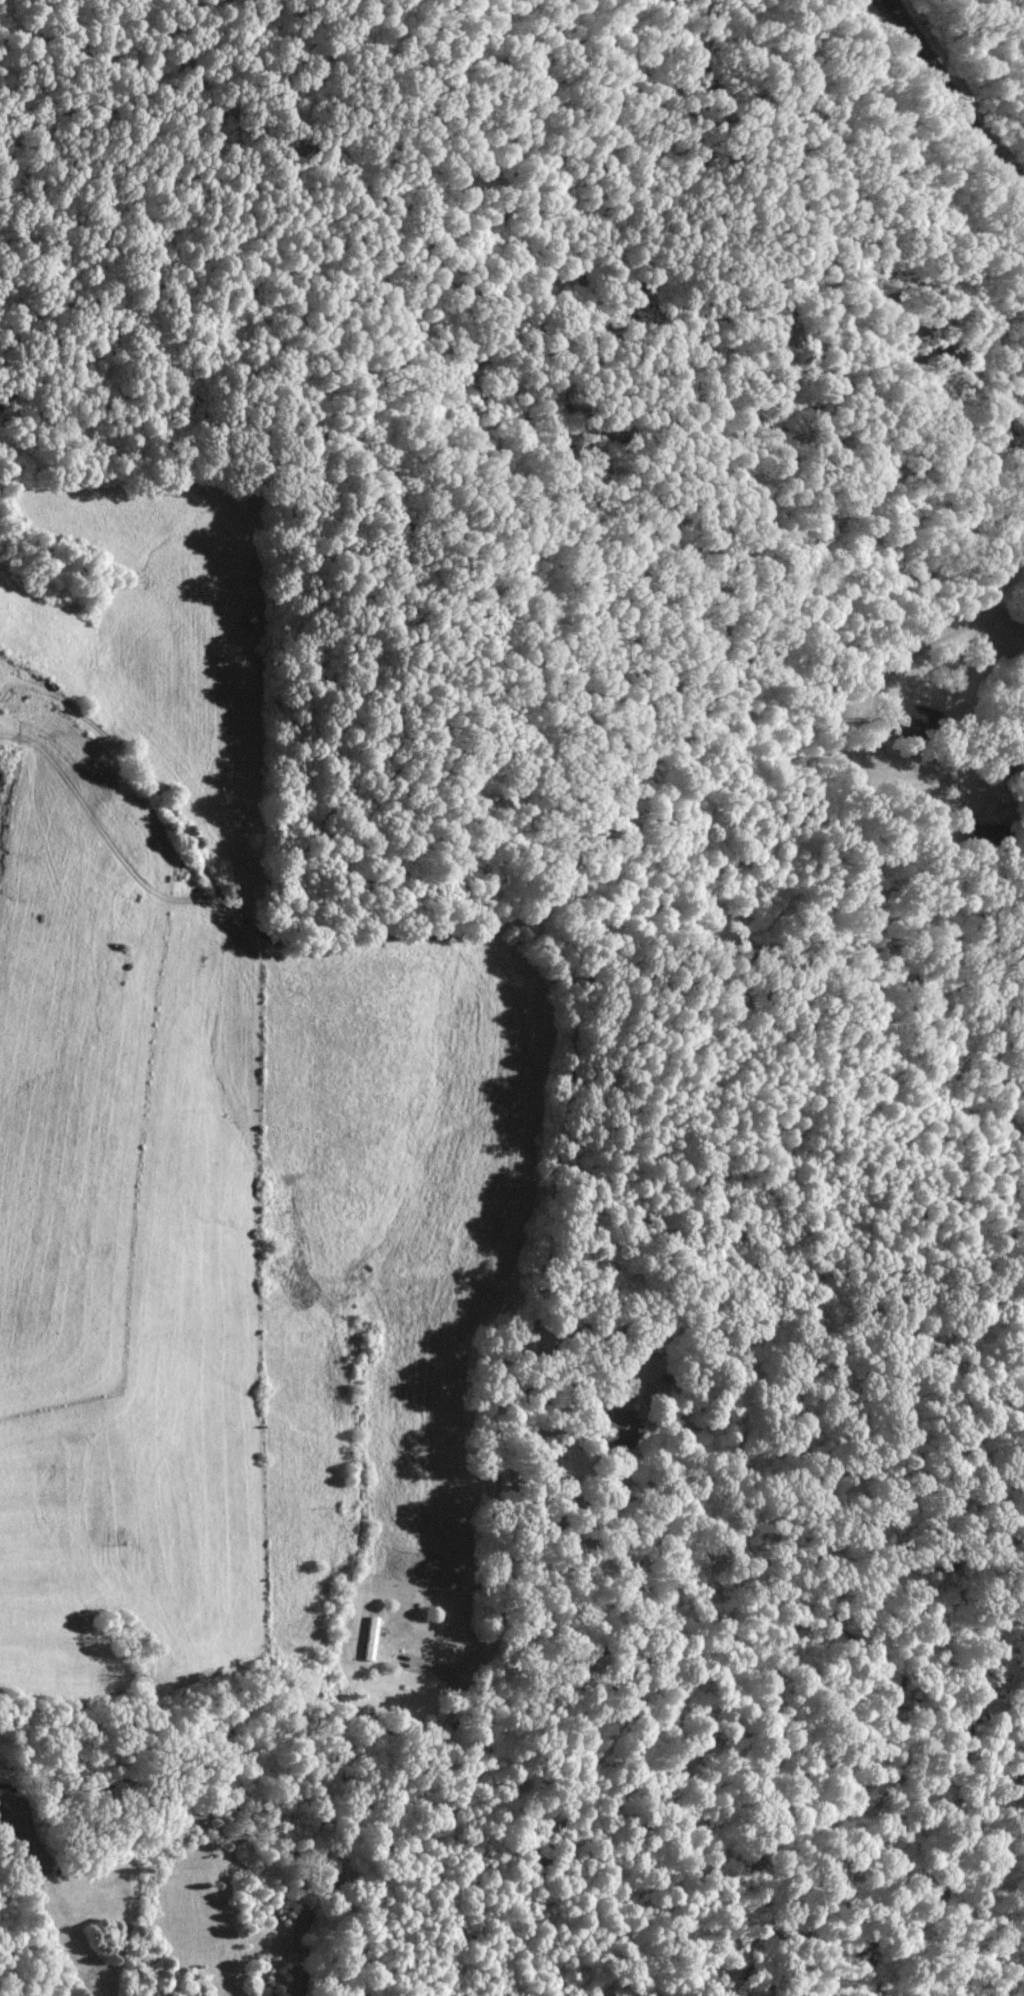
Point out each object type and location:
railway: (956, 102)
road: (986, 613)
road: (224, 897)
road: (543, 1114)
building: (371, 1638)

